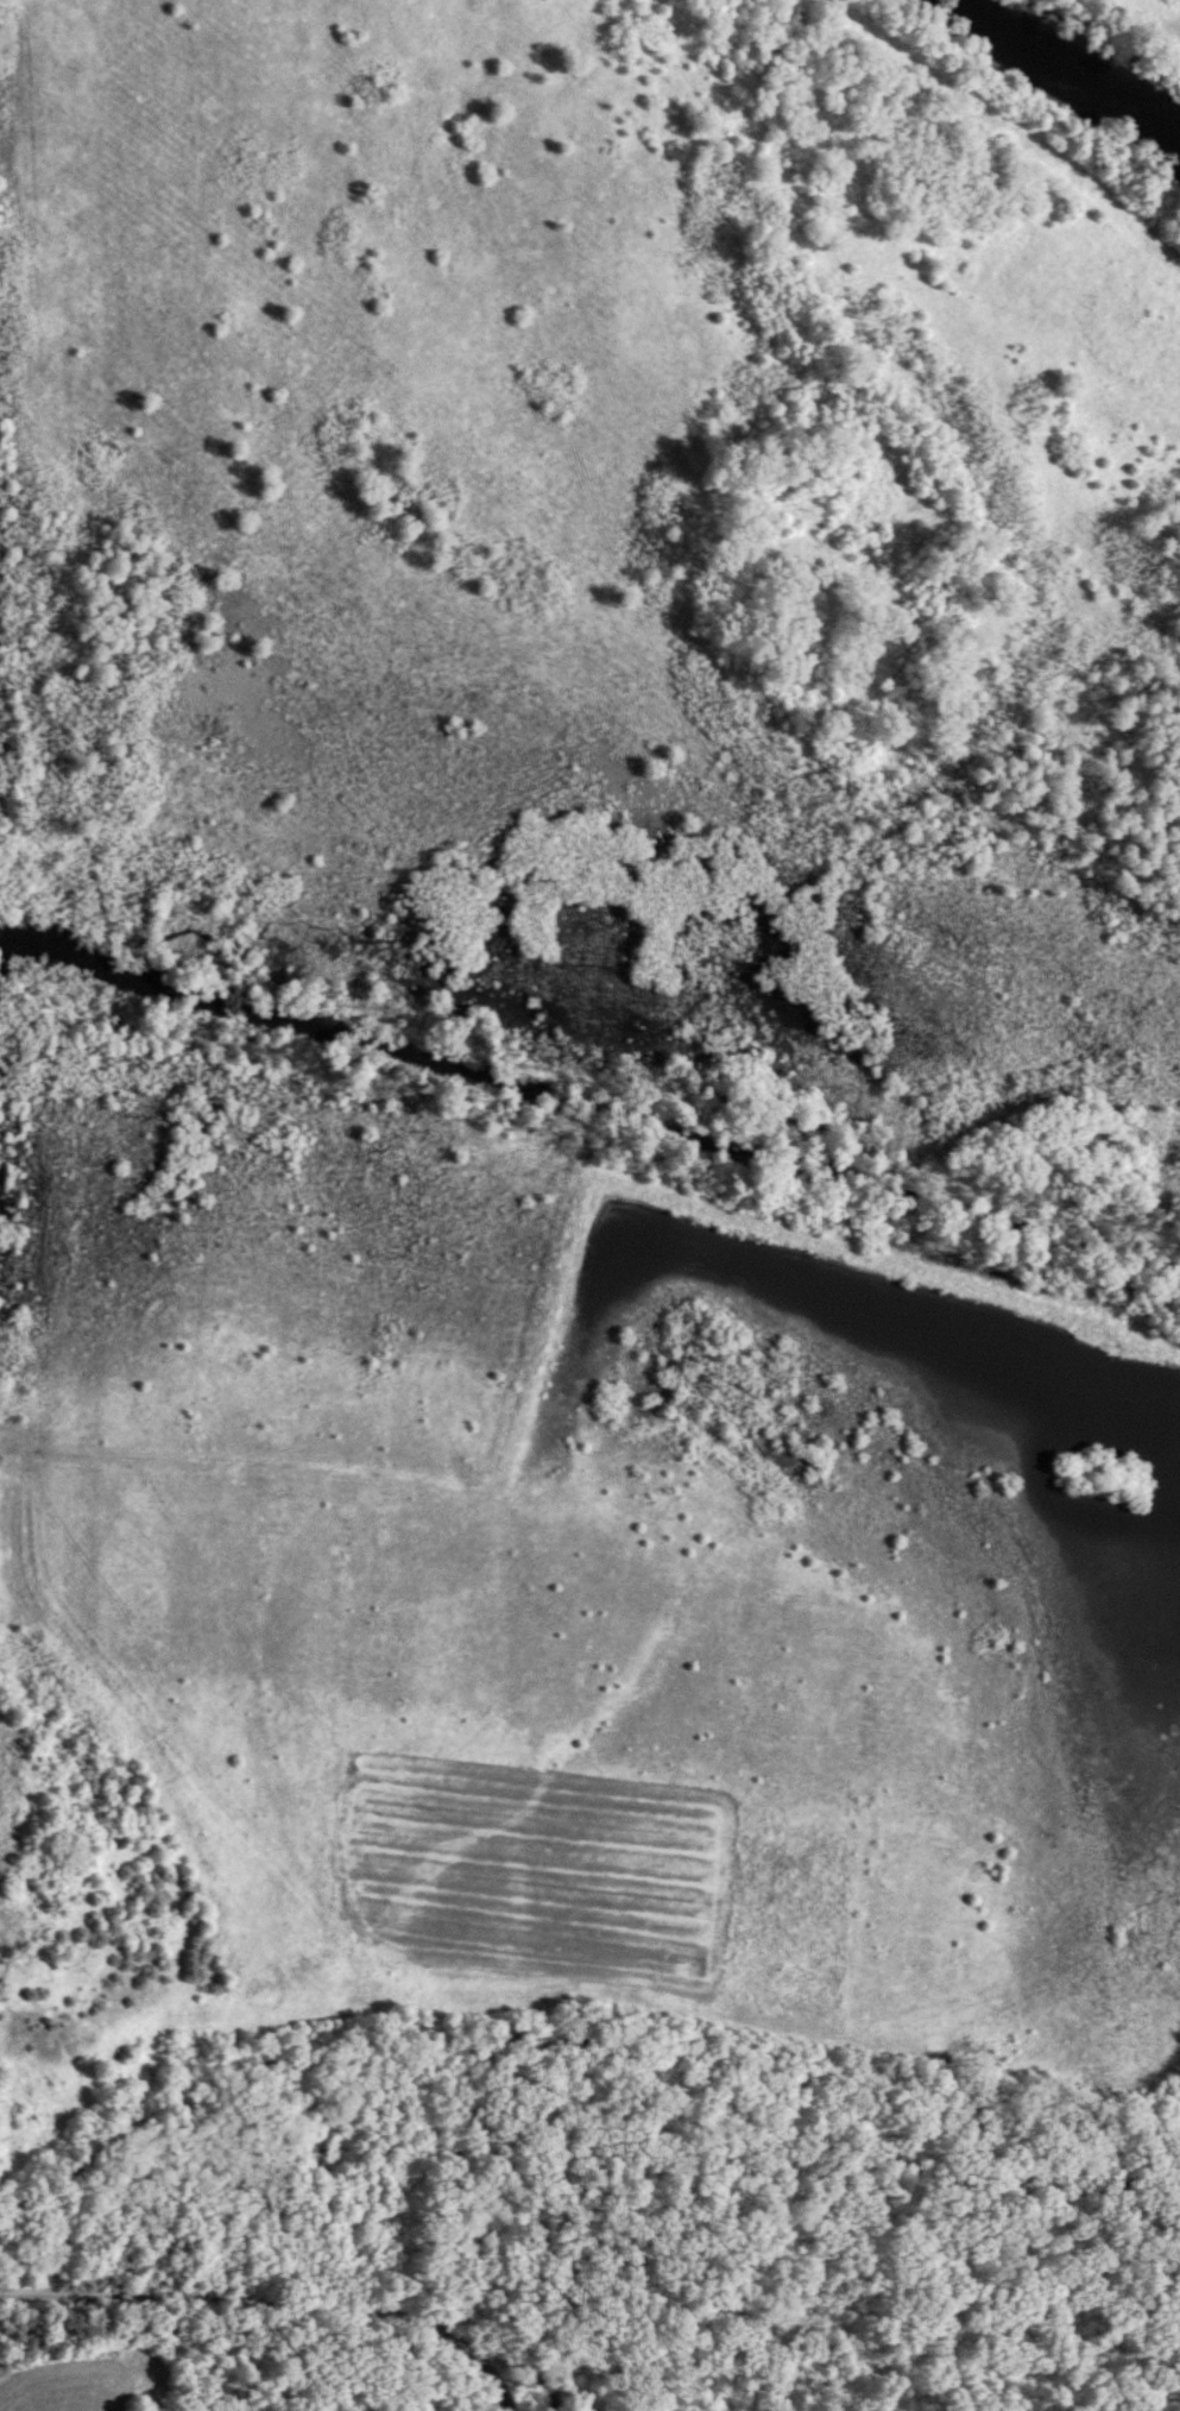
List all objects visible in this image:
river: (1079, 81)
road: (285, 2293)

